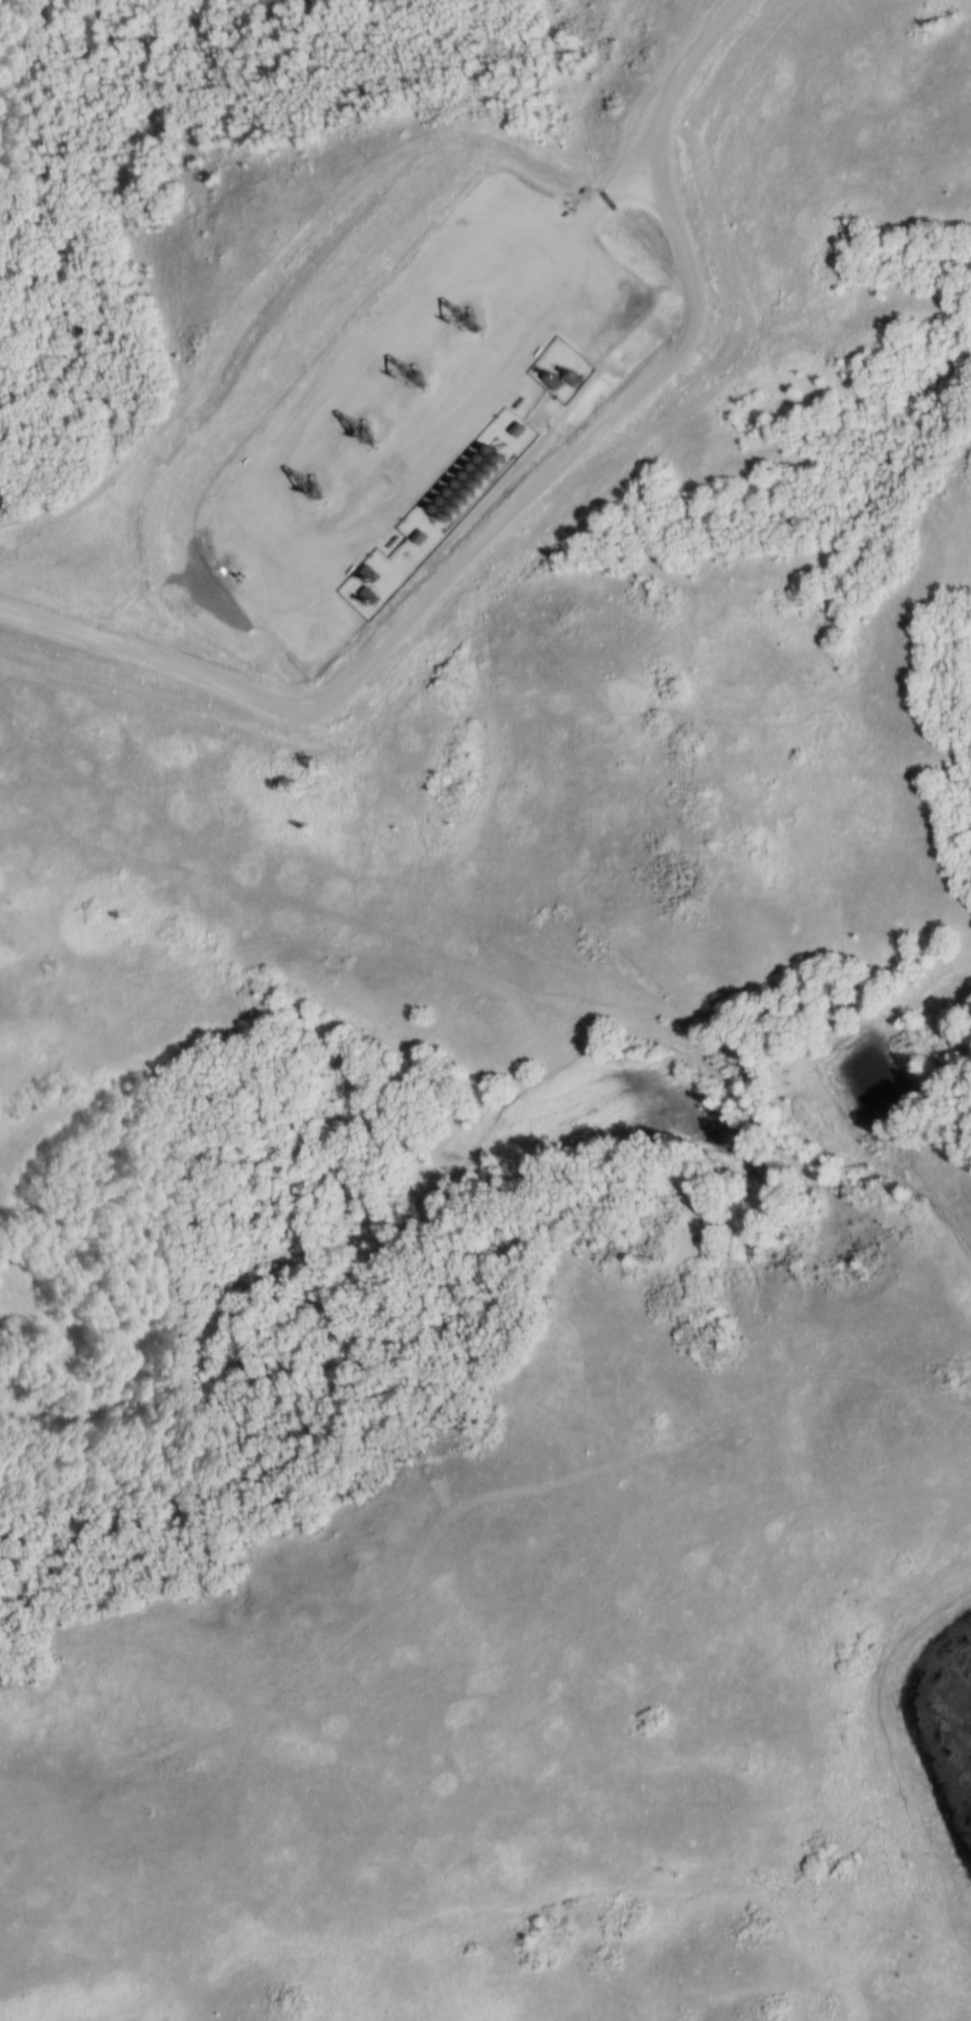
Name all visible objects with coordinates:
road: (601, 180)
petroleum well: (460, 326)
petroleum well: (411, 378)
petroleum well: (359, 435)
building: (484, 458)
storage tank: (484, 458)
building: (476, 466)
storage tank: (476, 466)
building: (493, 466)
storage tank: (493, 466)
building: (469, 474)
storage tank: (469, 474)
building: (485, 475)
storage tank: (485, 475)
building: (461, 483)
storage tank: (461, 483)
building: (479, 484)
storage tank: (479, 484)
petroleum well: (307, 489)
building: (453, 491)
storage tank: (453, 491)
building: (472, 491)
storage tank: (472, 491)
building: (446, 499)
storage tank: (446, 499)
building: (463, 500)
storage tank: (463, 500)
building: (439, 508)
storage tank: (439, 508)
building: (455, 508)
storage tank: (455, 508)
road: (514, 511)
building: (430, 515)
storage tank: (430, 515)
building: (448, 517)
storage tank: (448, 517)
building: (440, 524)
storage tank: (440, 524)

